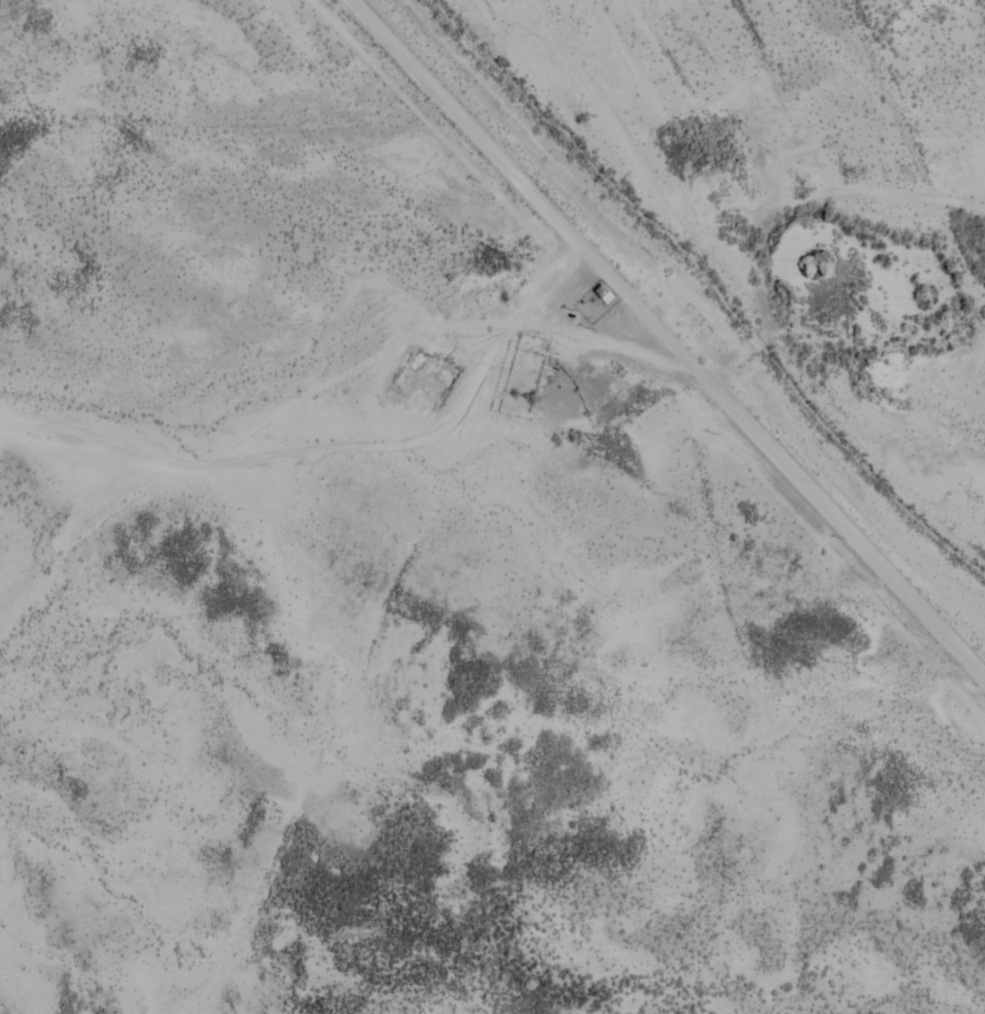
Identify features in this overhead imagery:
road: (517, 180)
road: (561, 424)

